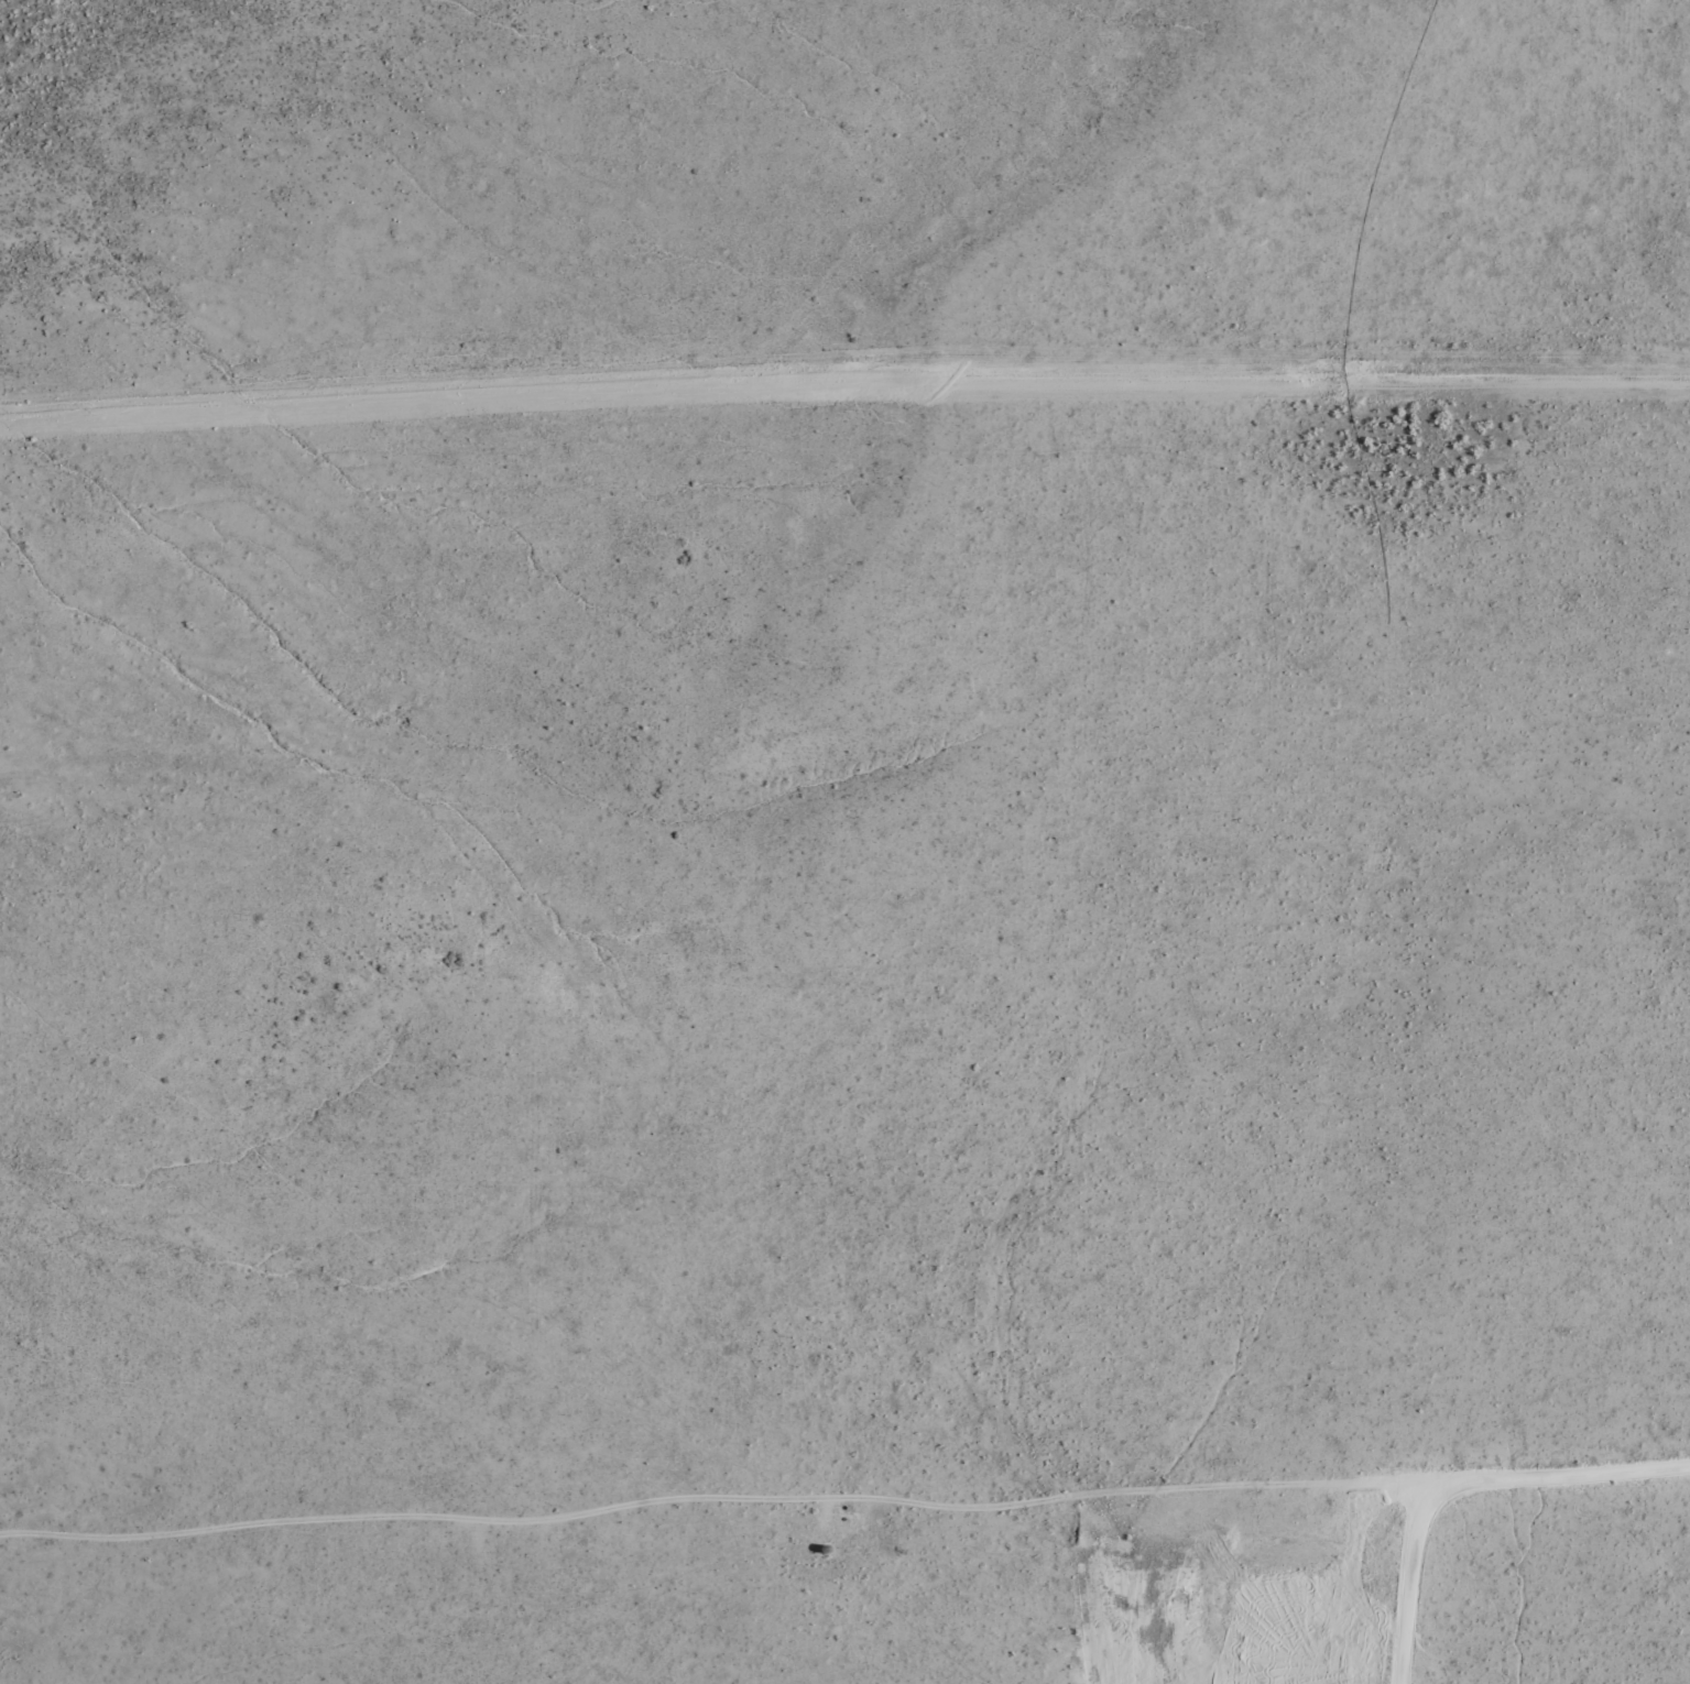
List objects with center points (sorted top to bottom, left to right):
road: (1556, 1475)
road: (1408, 1585)

